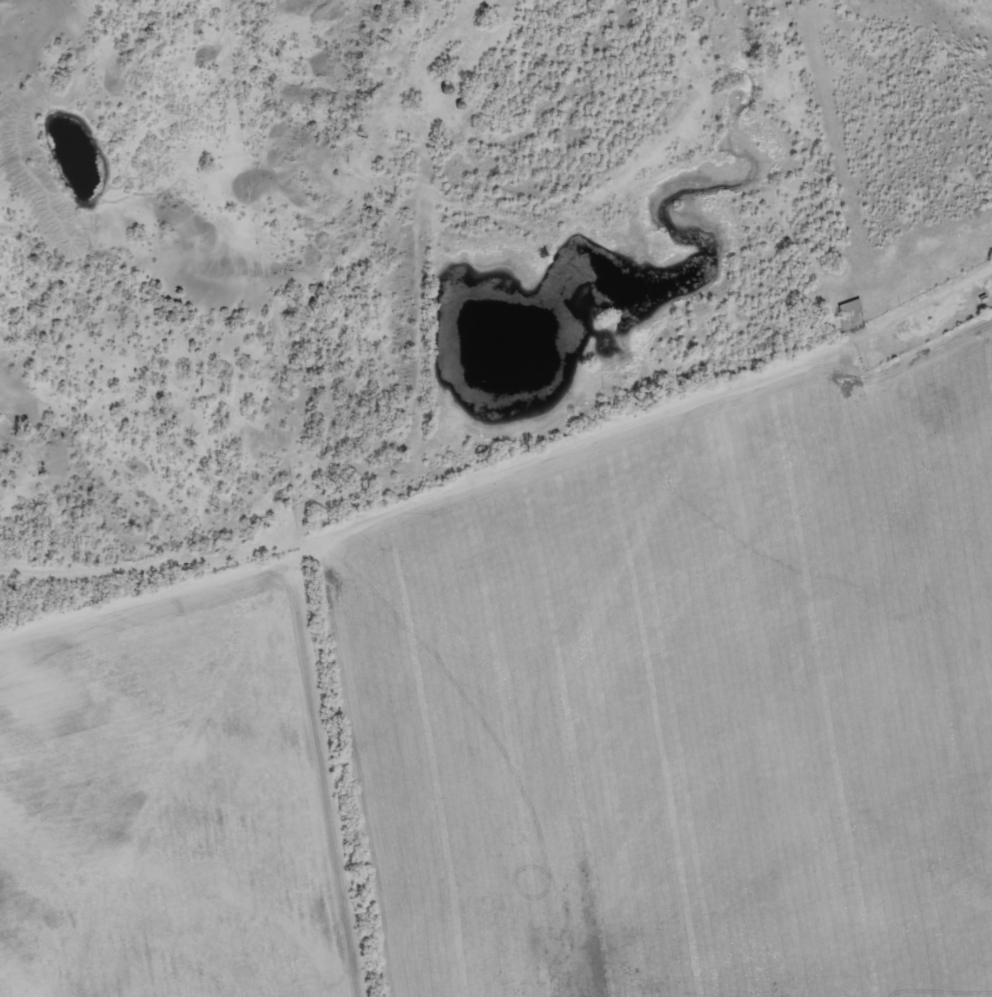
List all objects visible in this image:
building: (847, 306)
road: (515, 503)

